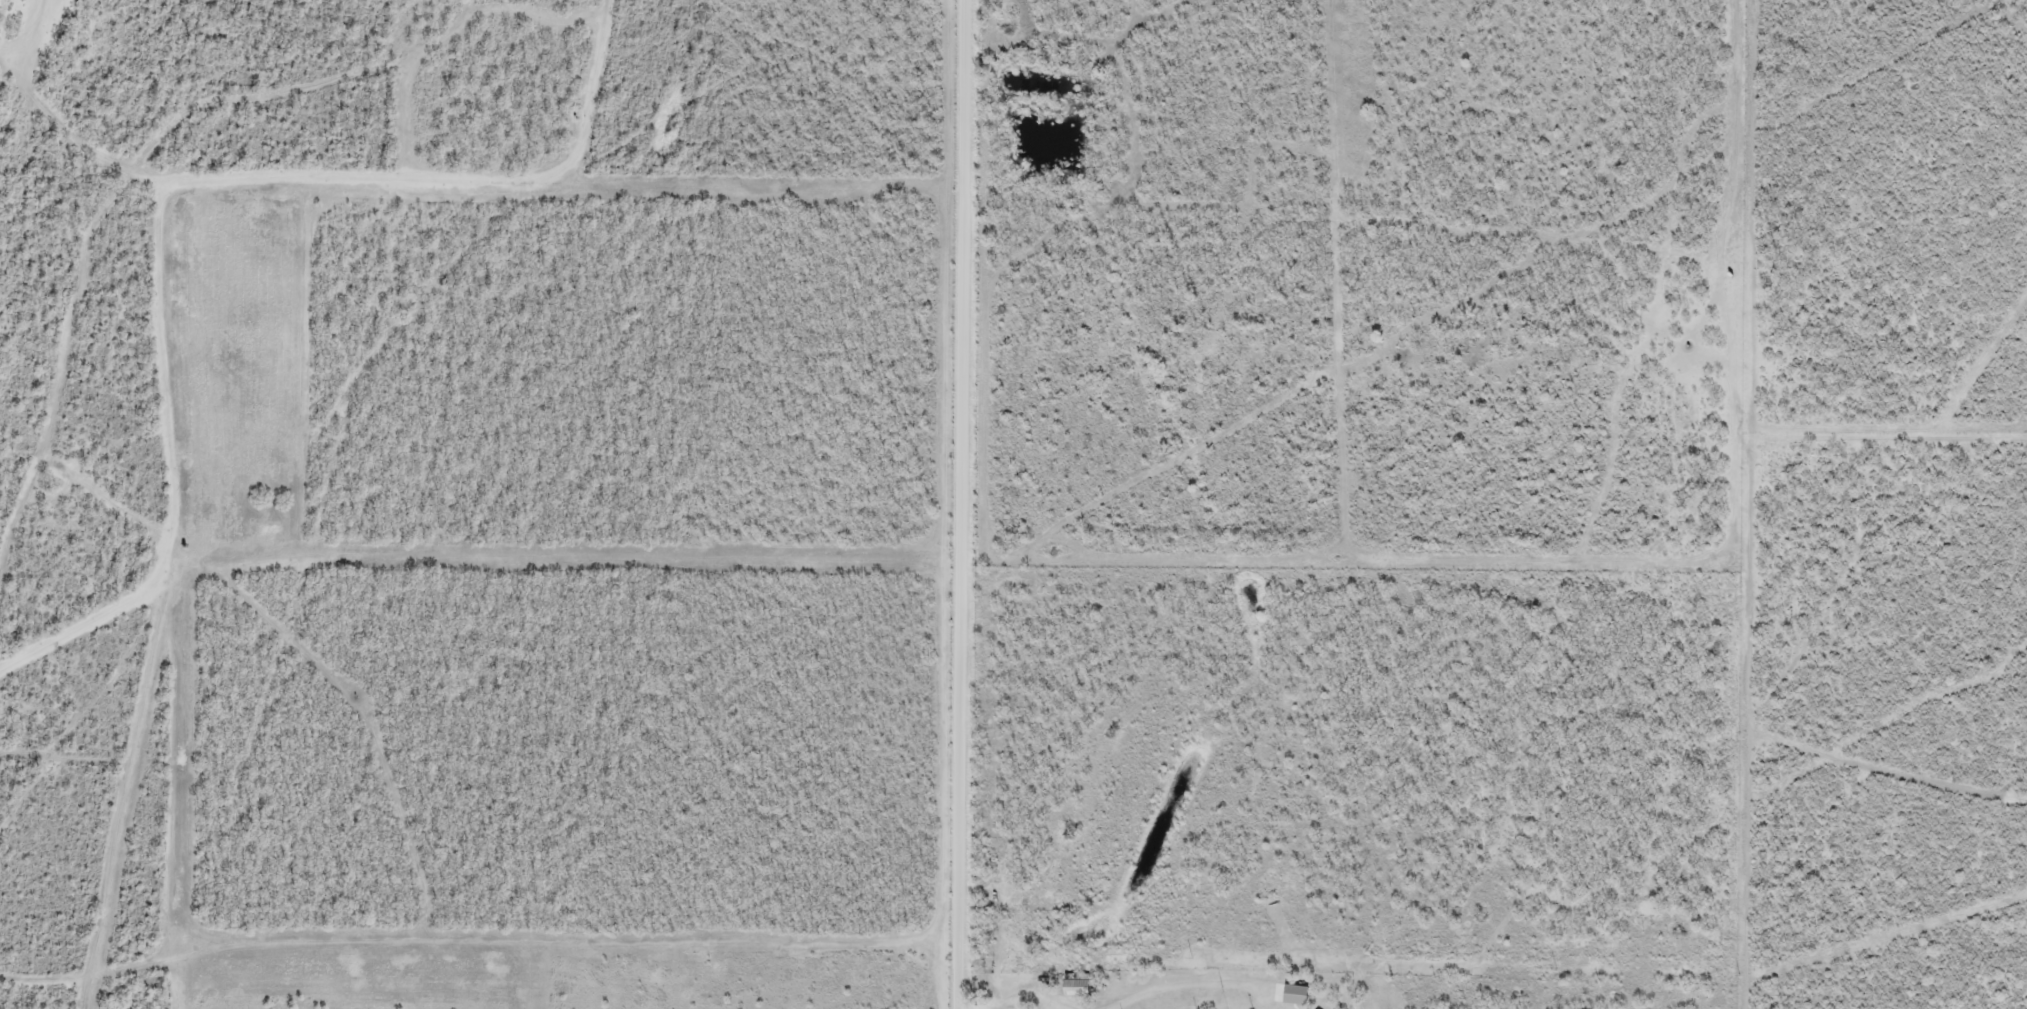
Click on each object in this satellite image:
road: (958, 504)
road: (1183, 983)
building: (1076, 987)
building: (1289, 996)

